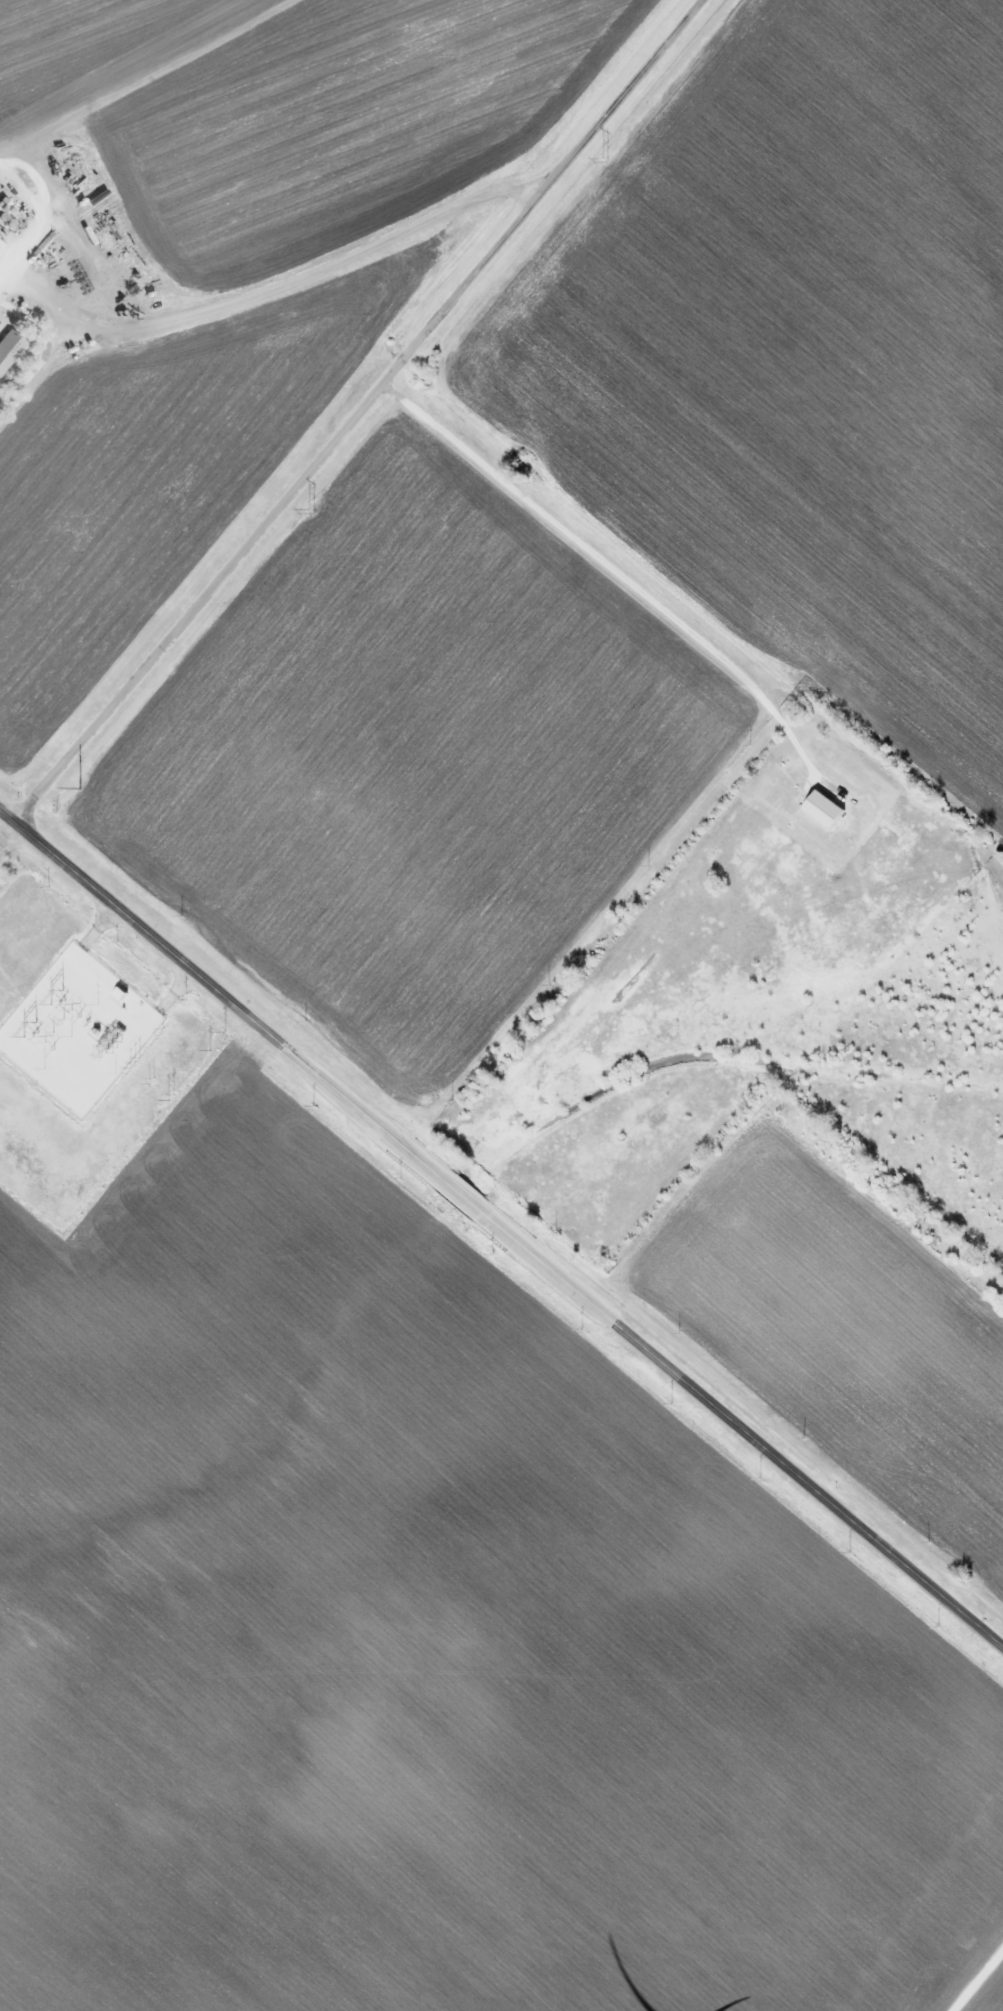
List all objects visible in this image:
power tower: (605, 160)
road: (33, 240)
building: (1, 245)
road: (315, 272)
road: (86, 274)
road: (44, 283)
building: (8, 347)
road: (356, 411)
power tower: (311, 511)
power tower: (80, 789)
power substation: (77, 1030)
road: (501, 1228)

